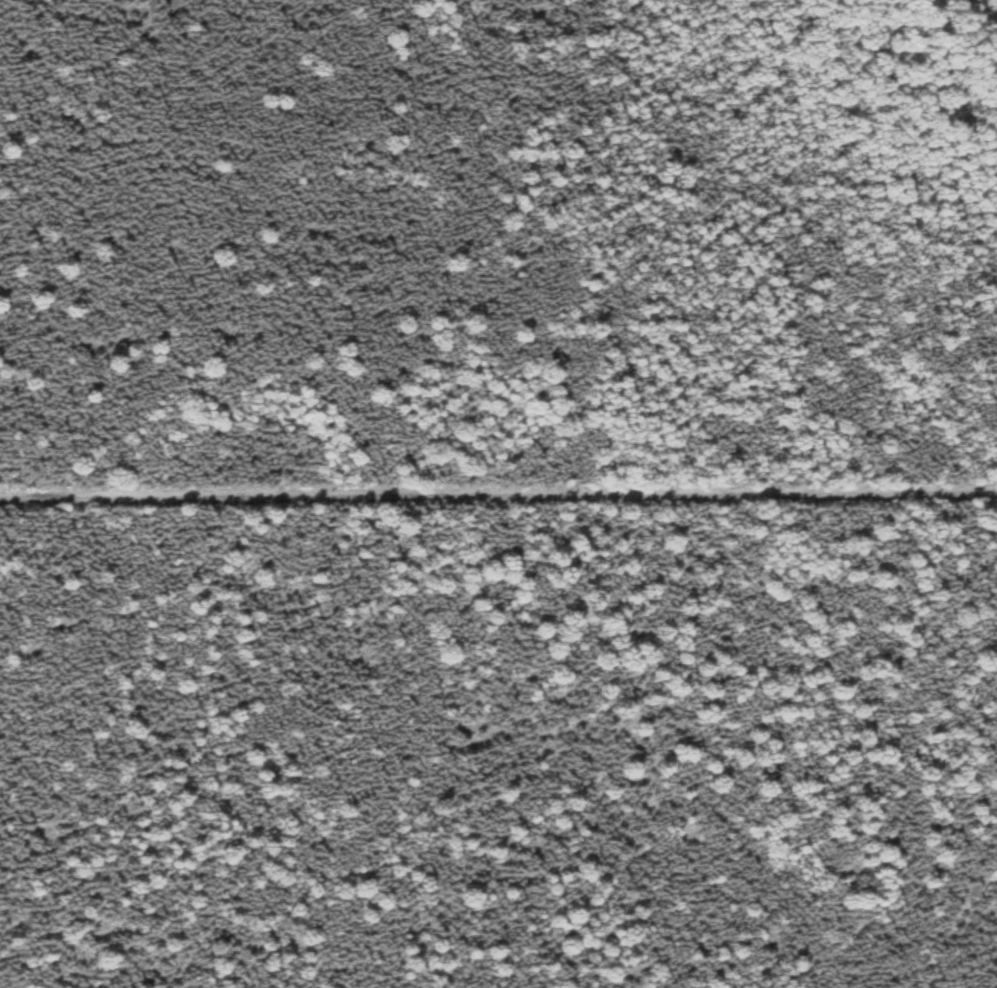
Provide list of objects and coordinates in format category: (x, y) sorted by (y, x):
road: (498, 497)

